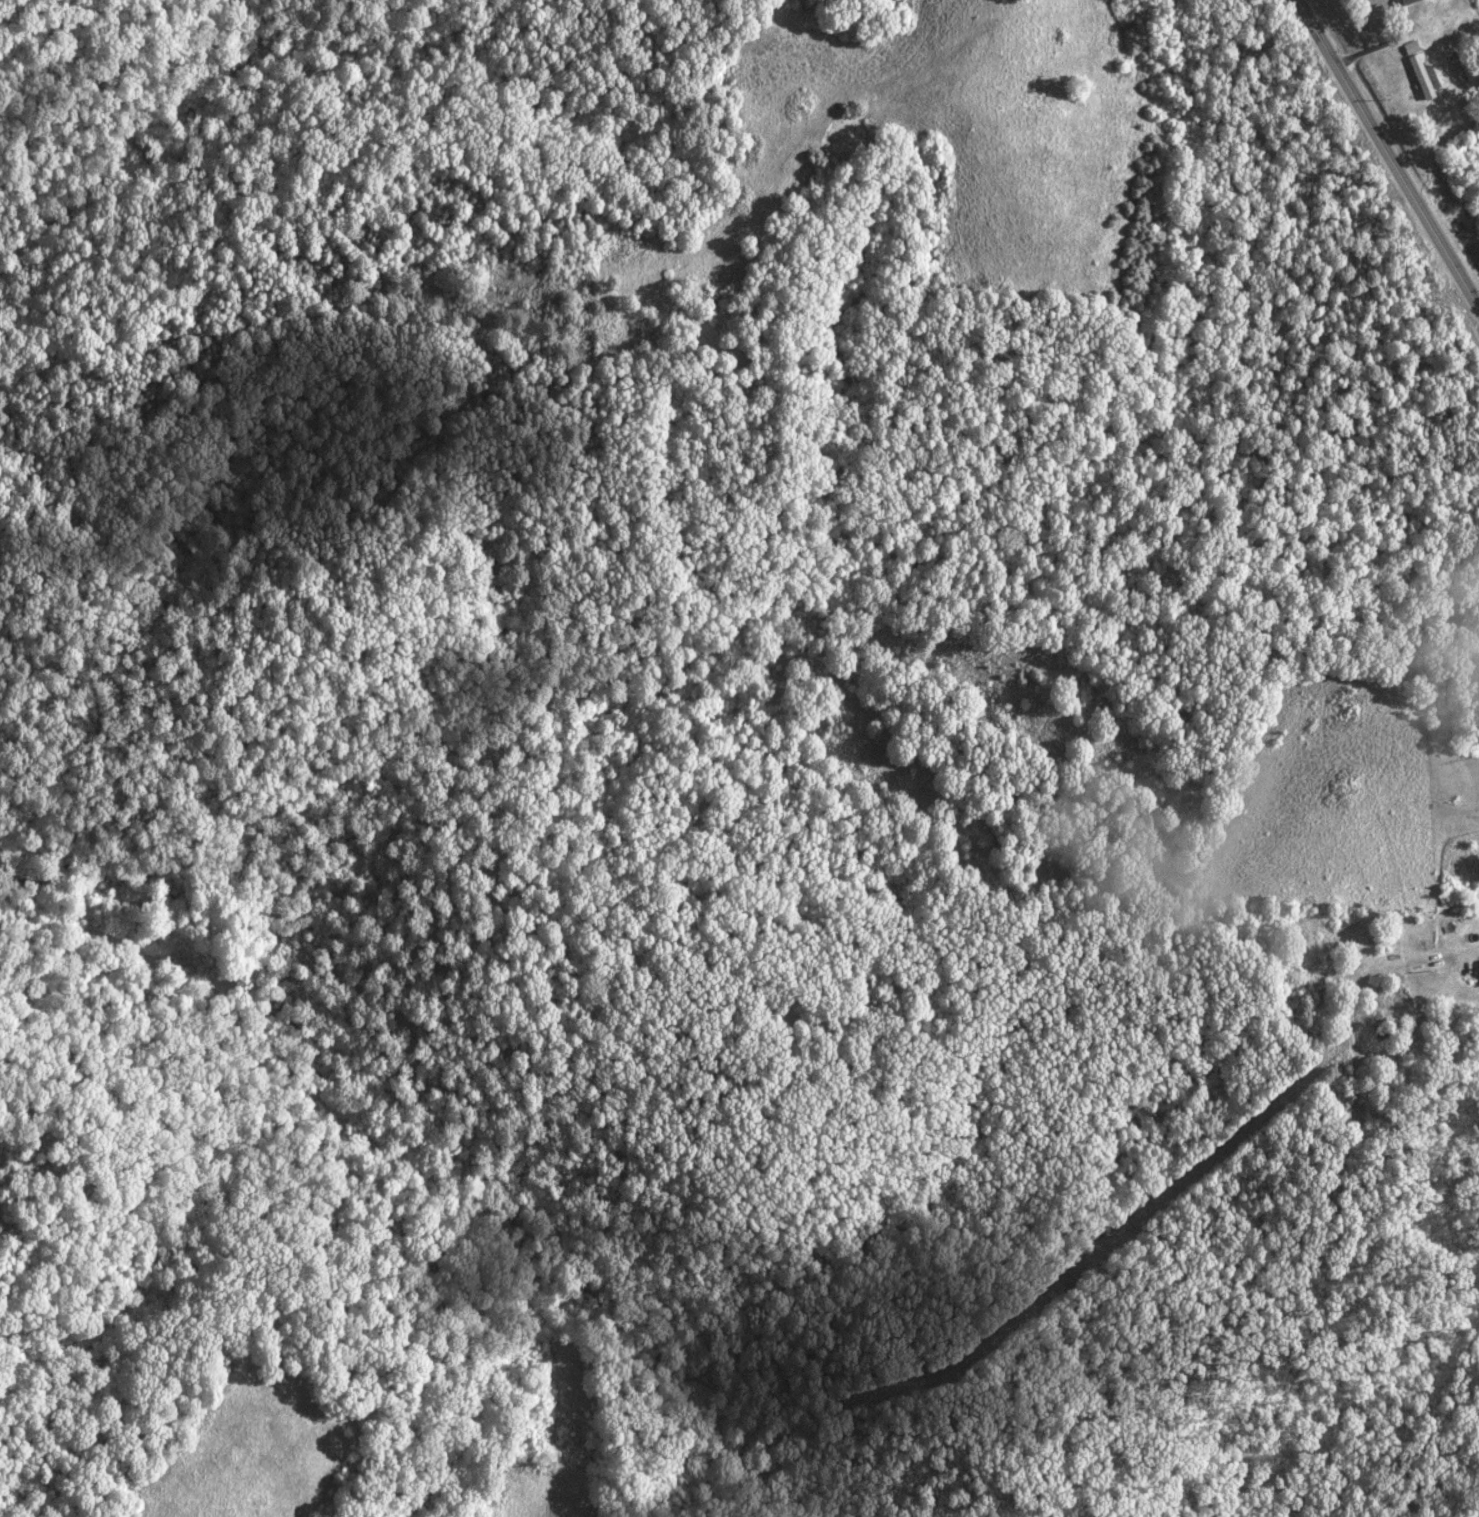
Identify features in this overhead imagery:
building: (1408, 47)
building: (1420, 77)
road: (1387, 155)
building: (1477, 717)
building: (1478, 740)

